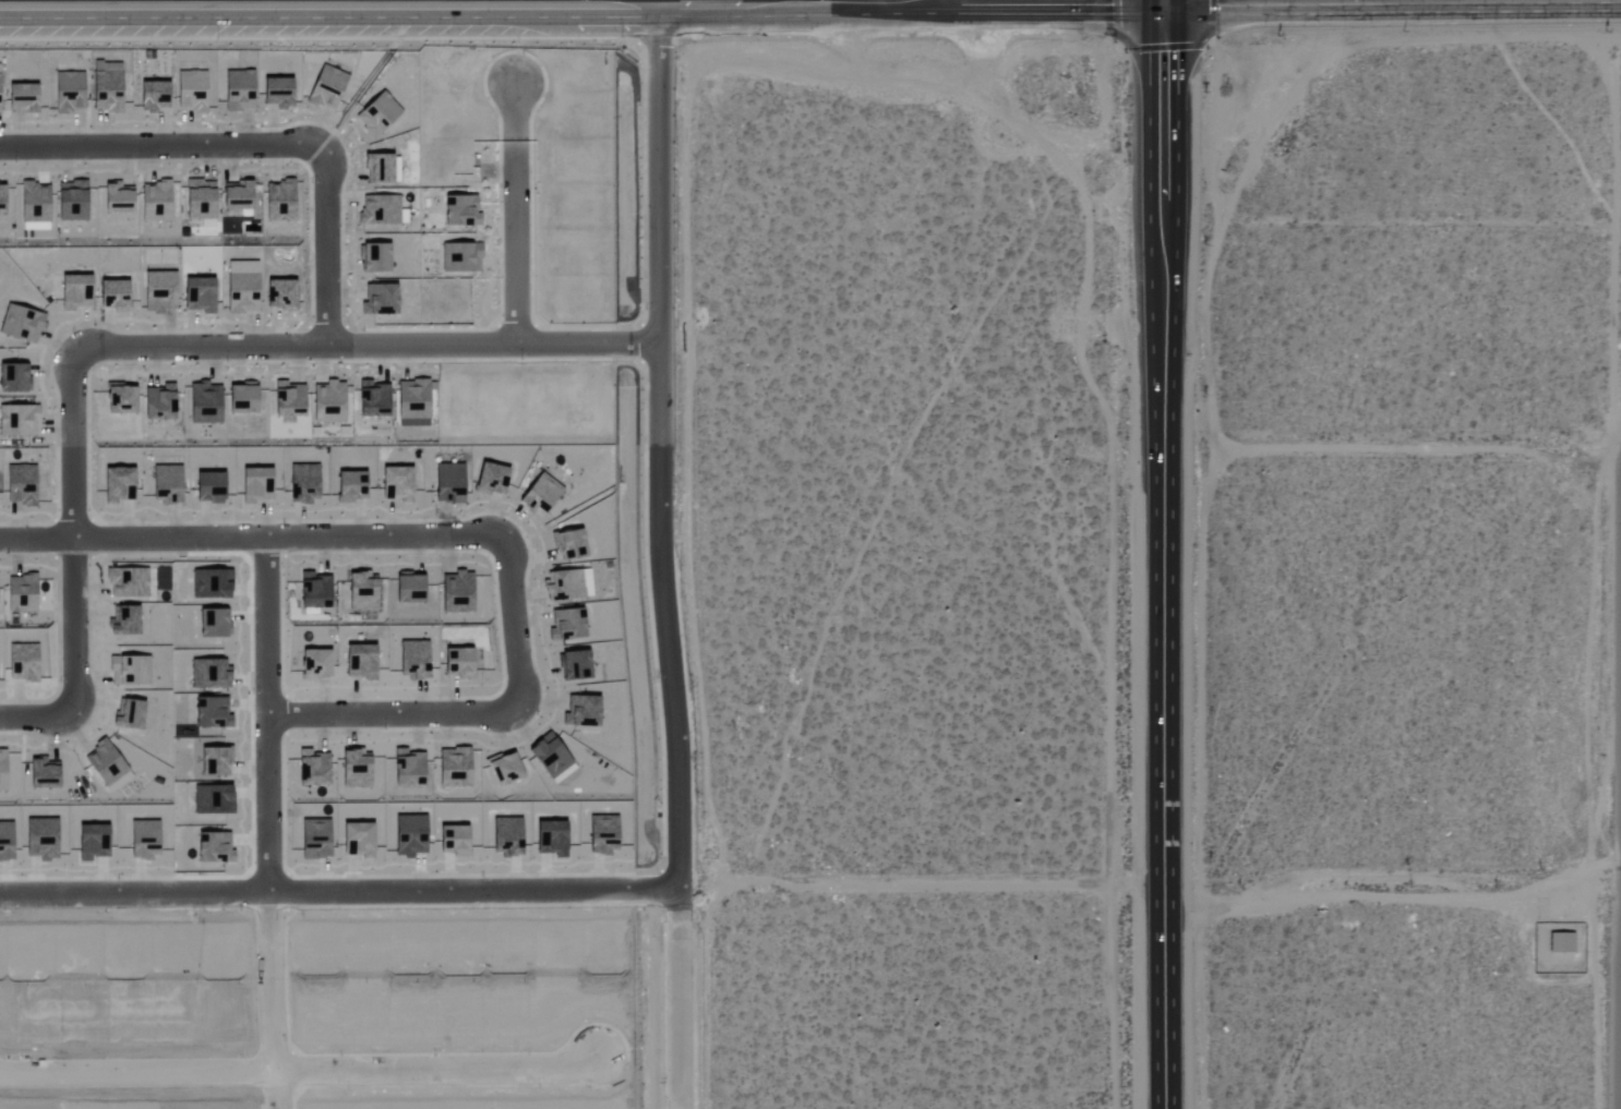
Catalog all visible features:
road: (1358, 0)
road: (1167, 1)
road: (1299, 1)
traffic signals: (1167, 3)
road: (584, 7)
building: (242, 82)
building: (68, 92)
building: (105, 92)
building: (276, 93)
building: (152, 96)
building: (21, 98)
building: (193, 98)
building: (231, 105)
building: (375, 114)
road: (1165, 119)
road: (260, 146)
building: (377, 168)
building: (236, 196)
building: (280, 197)
building: (1, 198)
building: (116, 198)
building: (199, 200)
building: (70, 202)
building: (155, 202)
building: (34, 206)
building: (379, 210)
building: (459, 213)
road: (516, 215)
building: (461, 256)
building: (373, 258)
building: (73, 292)
building: (158, 292)
building: (240, 293)
building: (111, 296)
building: (197, 296)
building: (279, 296)
building: (377, 300)
building: (20, 325)
road: (154, 348)
building: (12, 379)
building: (241, 399)
building: (119, 400)
building: (287, 400)
building: (372, 400)
building: (327, 402)
building: (158, 403)
building: (203, 403)
building: (411, 403)
building: (17, 421)
road: (665, 447)
road: (1390, 456)
building: (490, 479)
building: (396, 481)
building: (166, 483)
building: (447, 483)
building: (303, 484)
building: (20, 485)
building: (255, 485)
building: (207, 487)
building: (349, 487)
building: (539, 495)
road: (343, 537)
building: (568, 545)
building: (566, 582)
building: (407, 588)
building: (459, 590)
building: (22, 592)
building: (313, 592)
building: (361, 592)
building: (572, 624)
building: (456, 662)
road: (1161, 672)
building: (585, 712)
road: (389, 713)
building: (504, 770)
road: (271, 823)
road: (945, 885)
road: (341, 889)
road: (1390, 889)
road: (683, 998)
road: (300, 1073)

